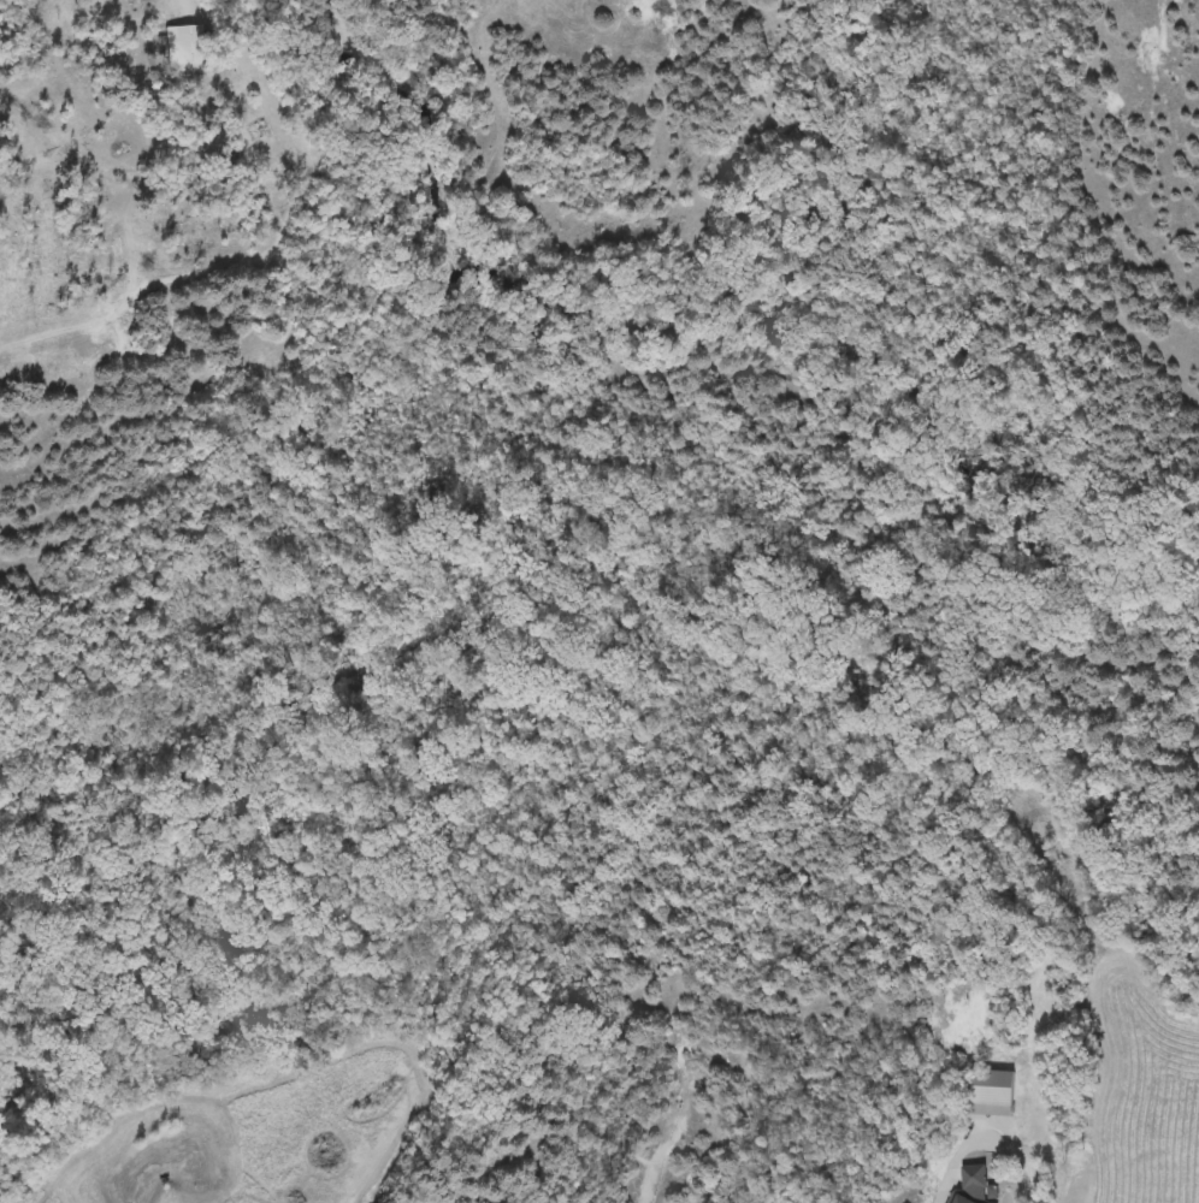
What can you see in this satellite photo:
building: (181, 49)
building: (986, 1092)
road: (945, 1169)
building: (968, 1186)

